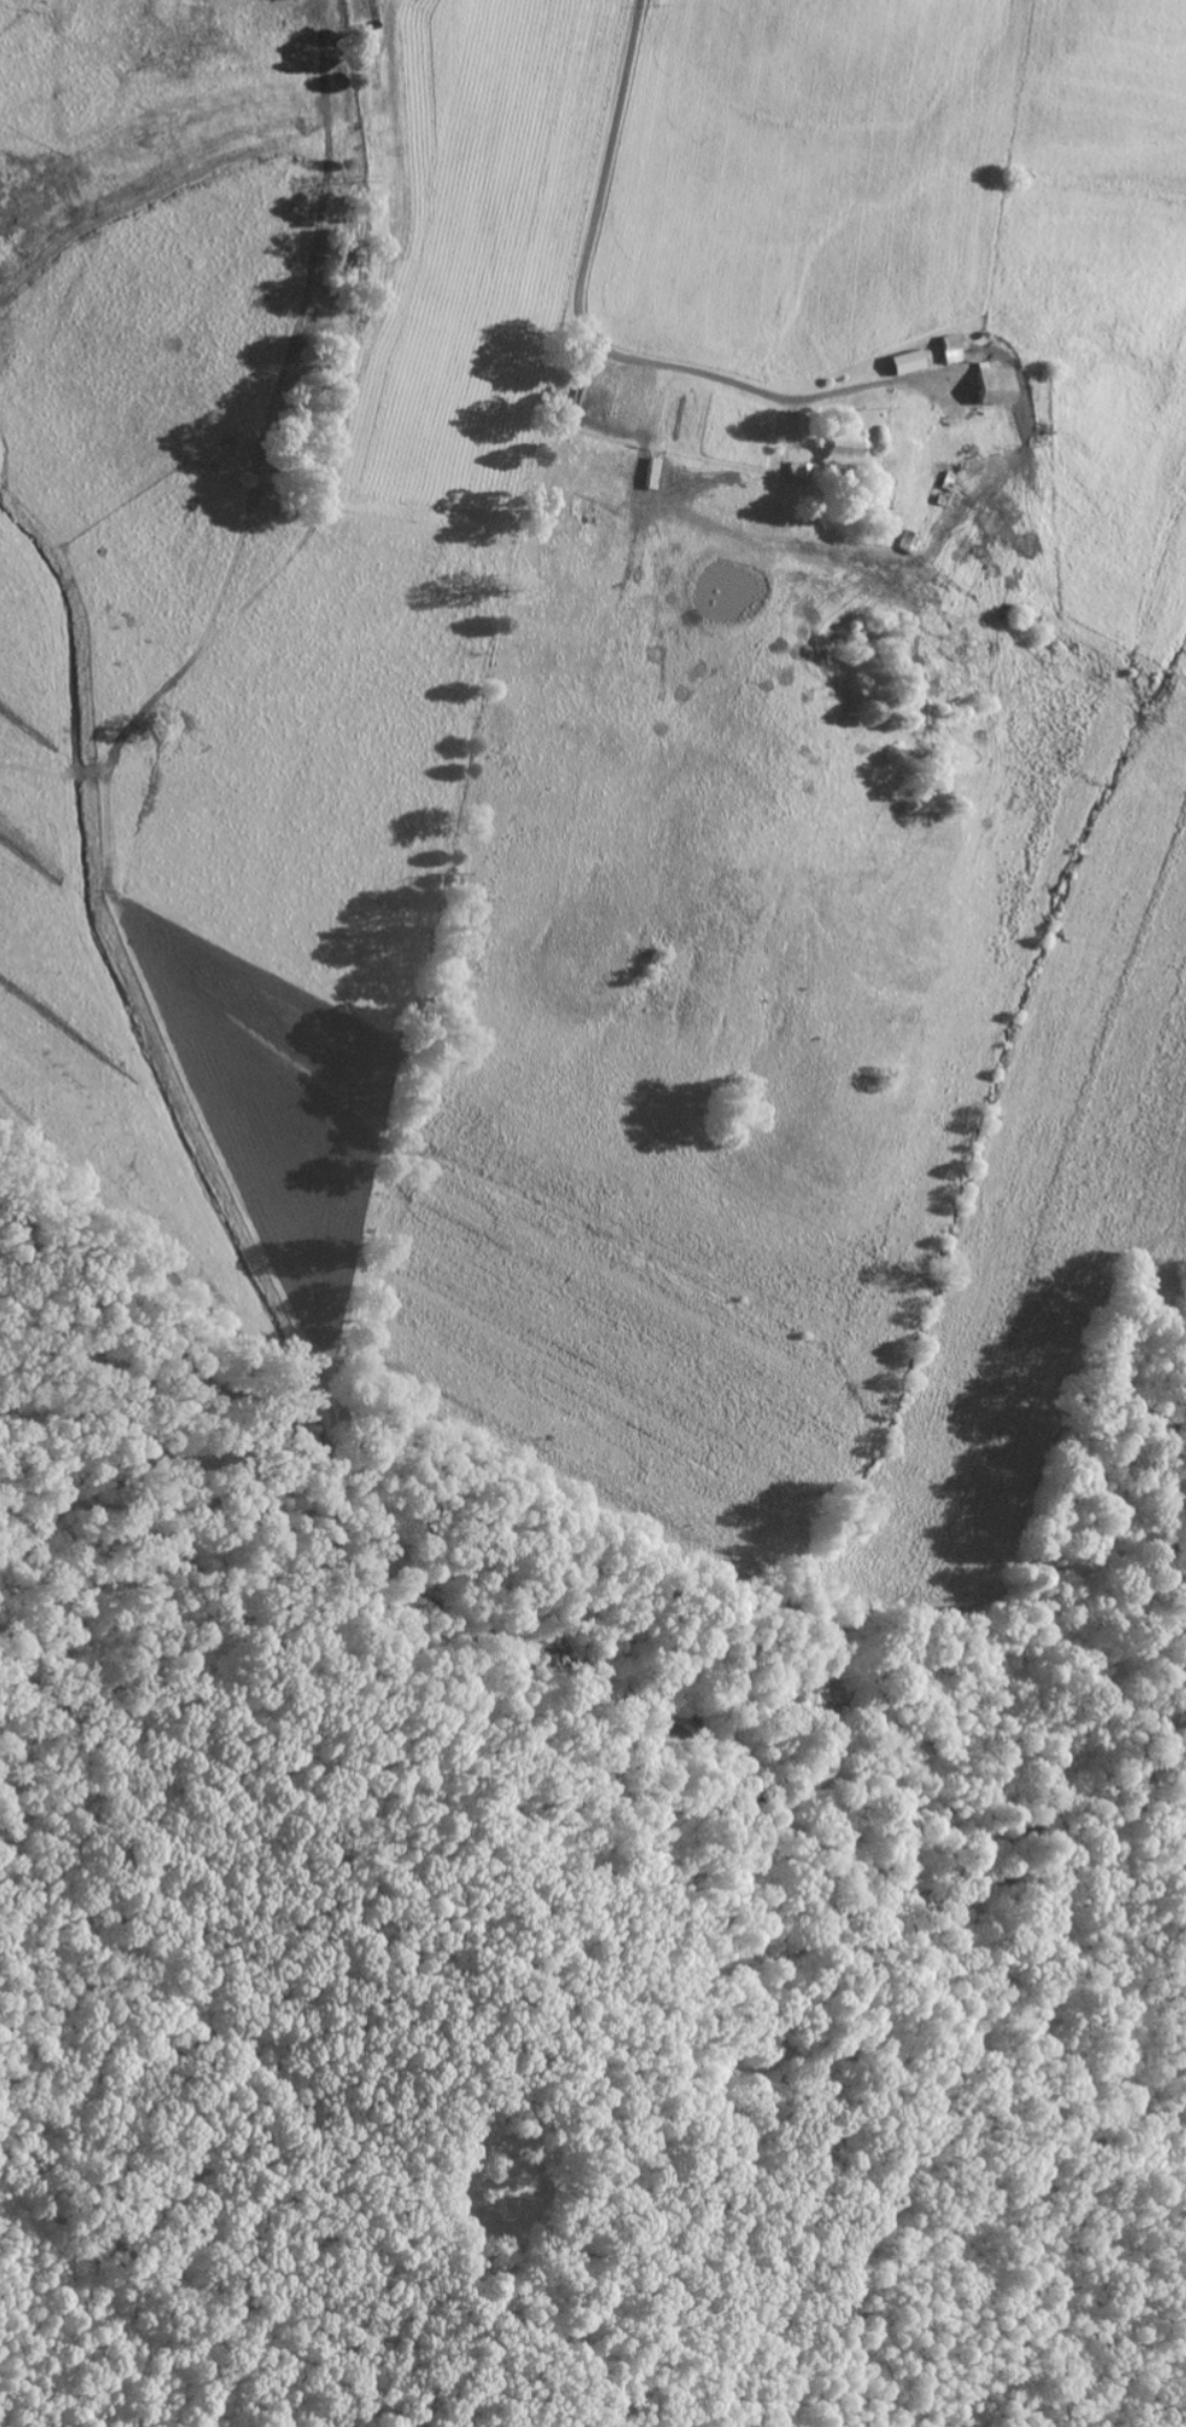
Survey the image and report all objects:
road: (584, 329)
building: (949, 342)
building: (905, 362)
building: (993, 380)
building: (843, 445)
building: (799, 471)
building: (944, 484)
building: (883, 494)
building: (905, 538)

